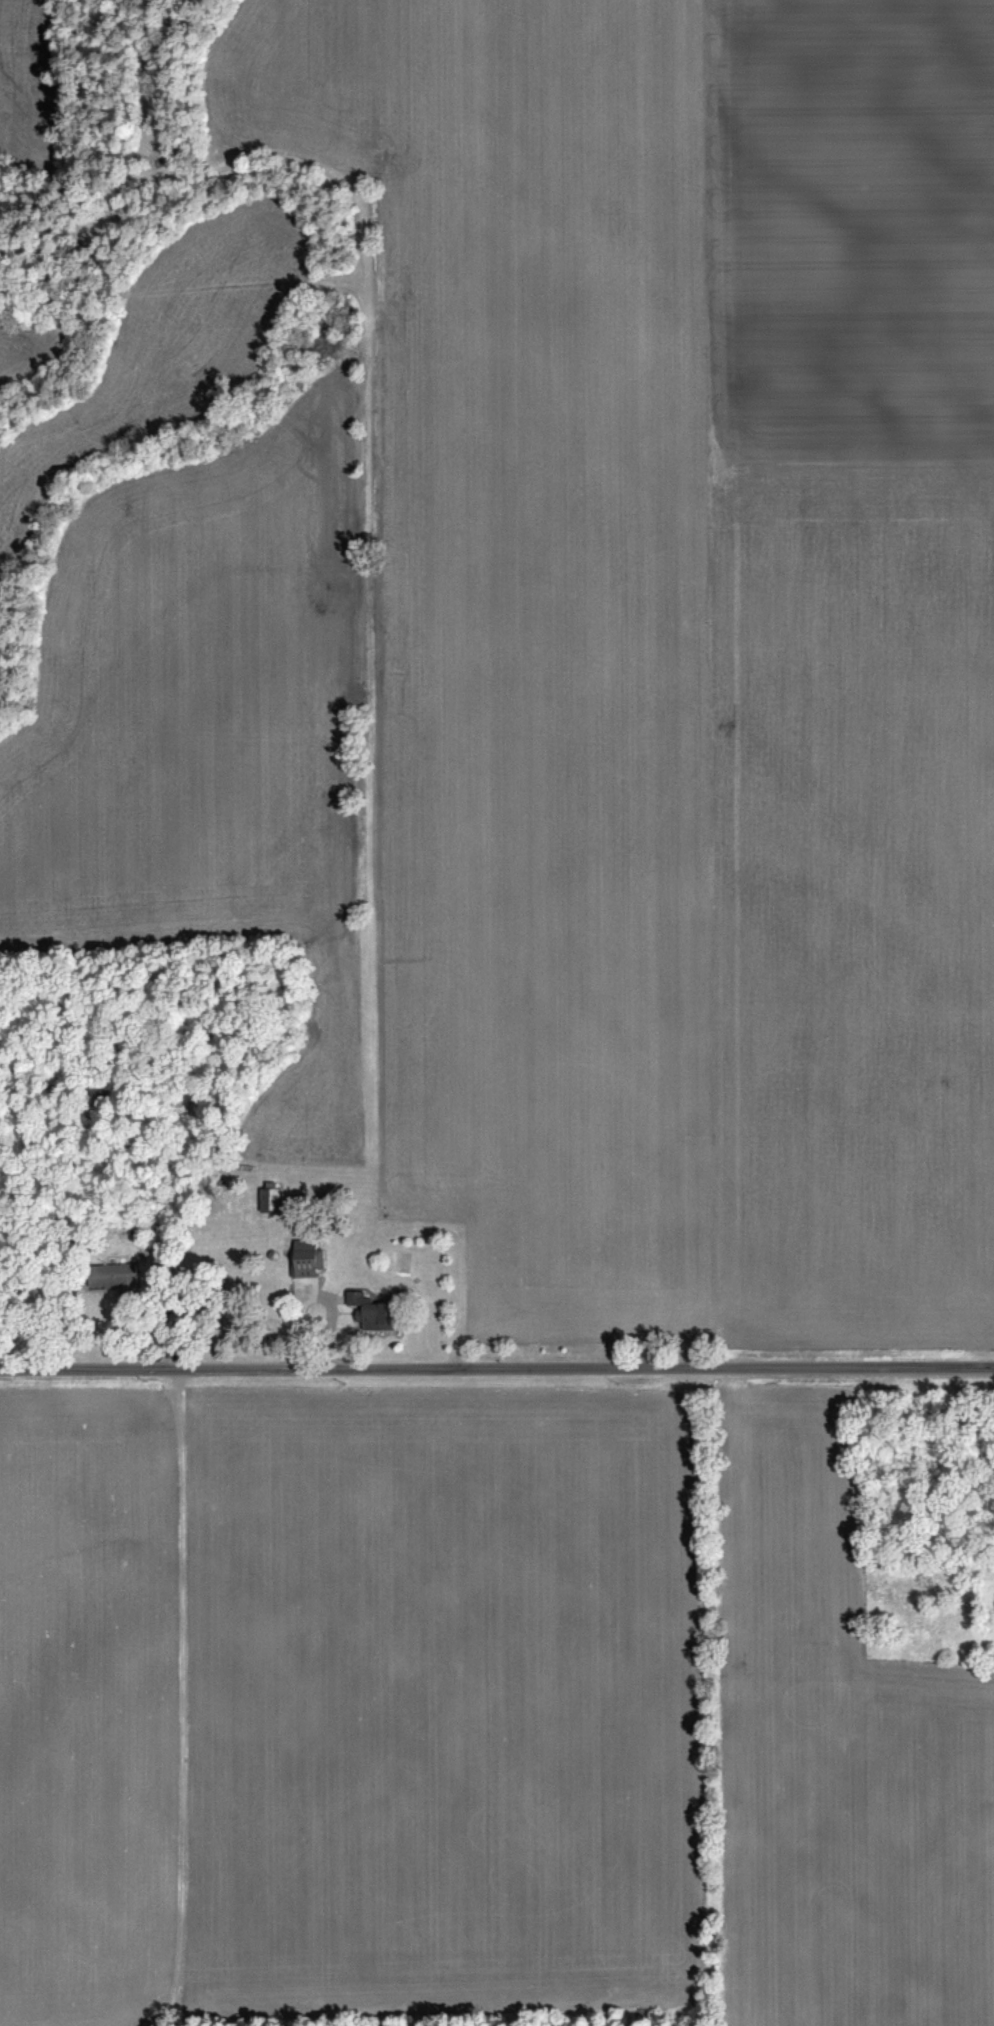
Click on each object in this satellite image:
crop: (27, 68)
crop: (850, 231)
crop: (19, 347)
crop: (532, 616)
crop: (204, 731)
building: (270, 1196)
building: (274, 1253)
building: (306, 1256)
building: (111, 1273)
building: (356, 1294)
building: (373, 1315)
road: (133, 1319)
road: (331, 1320)
building: (300, 1323)
road: (497, 1369)

